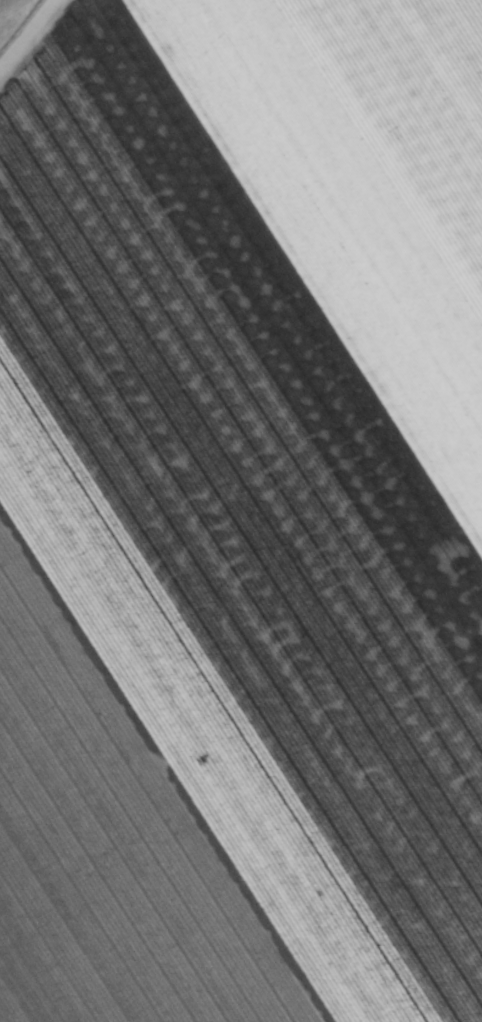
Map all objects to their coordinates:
road: (71, 80)
crop: (241, 511)

